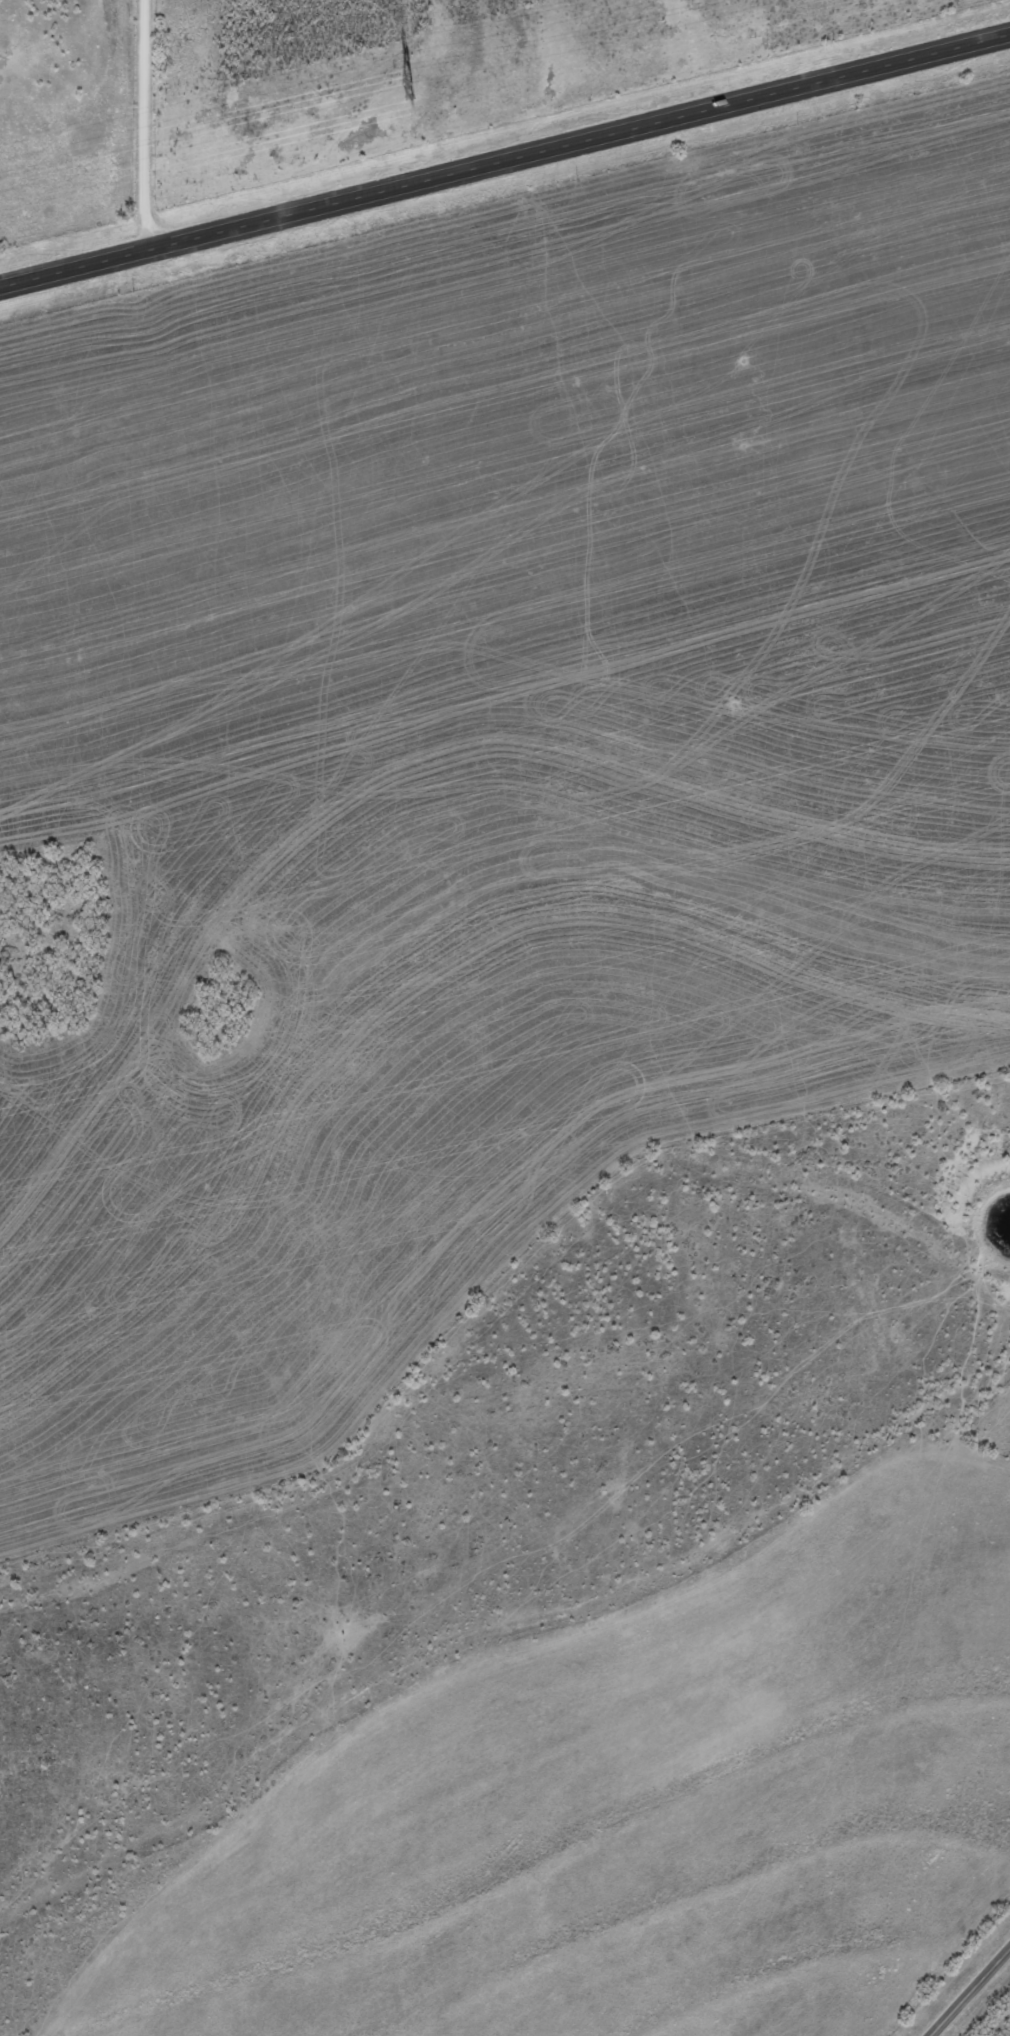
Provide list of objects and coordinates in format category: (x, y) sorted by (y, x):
power tower: (404, 90)
road: (147, 129)
road: (505, 167)
road: (971, 1993)

